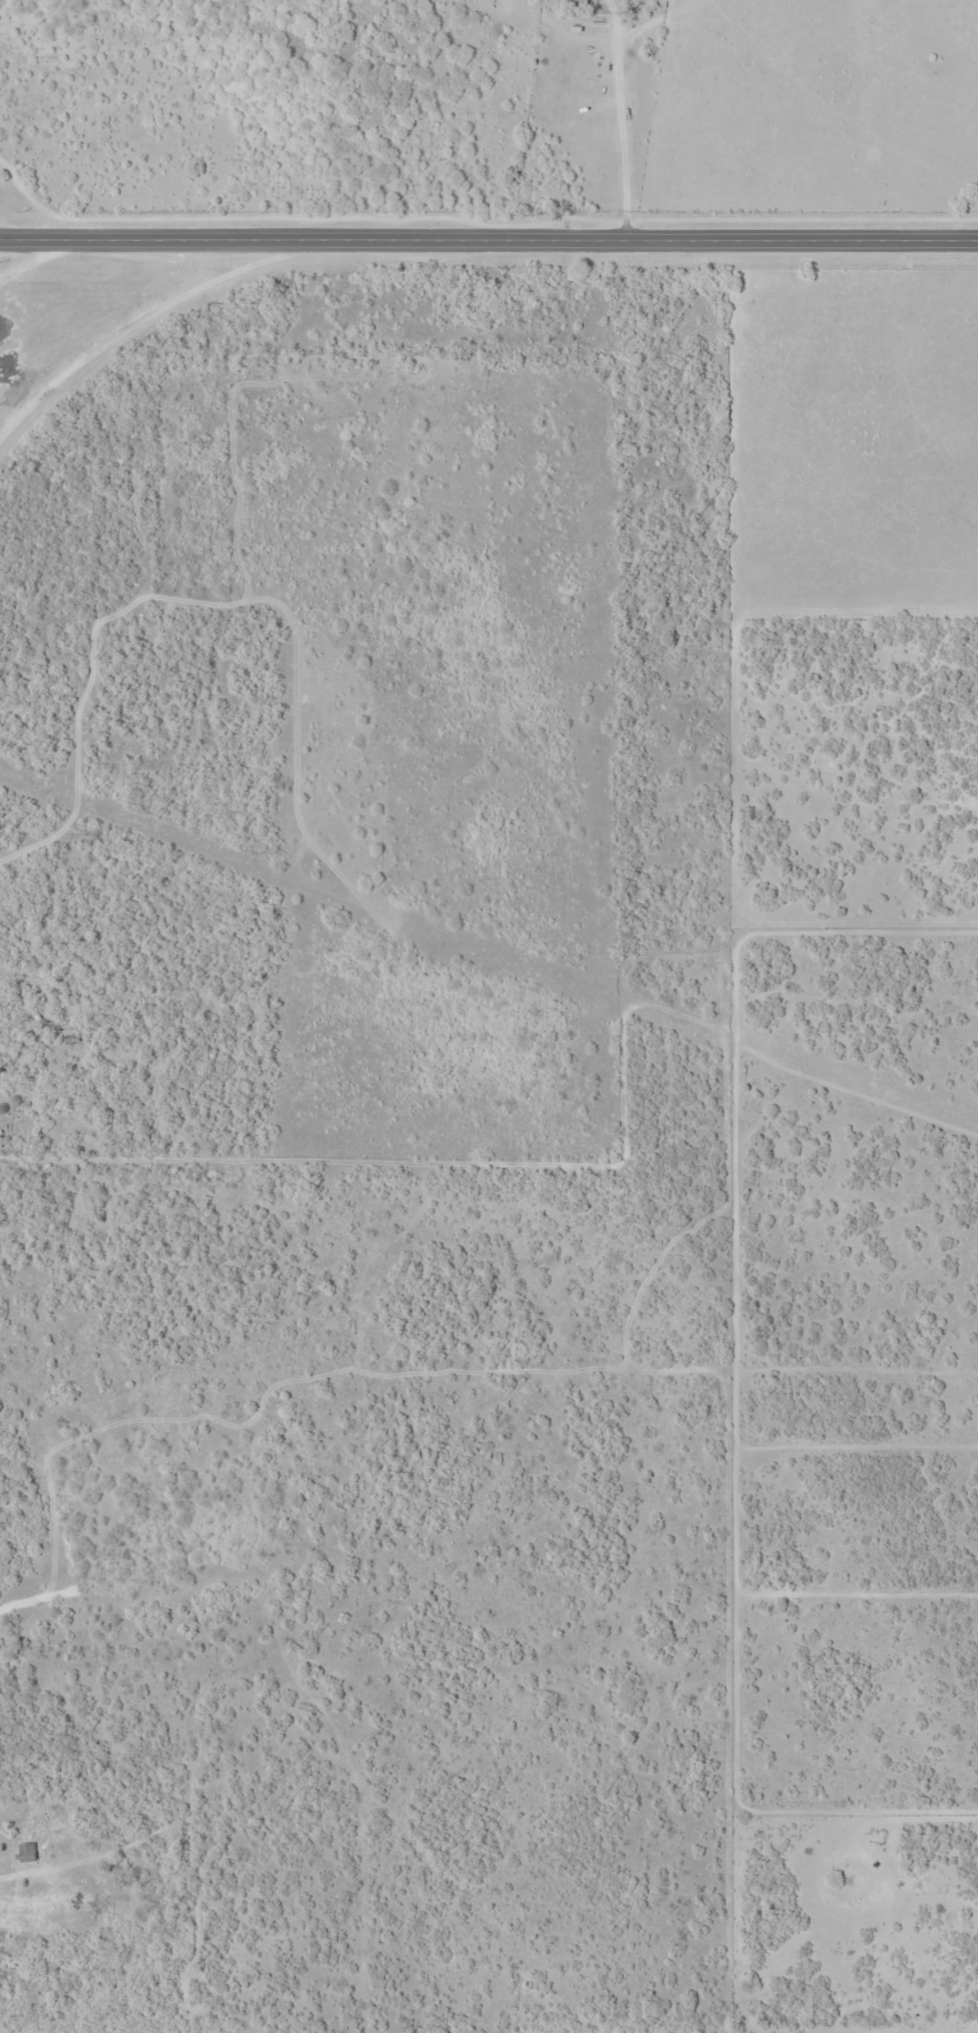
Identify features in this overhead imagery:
road: (687, 232)
road: (198, 235)
road: (178, 297)
building: (70, 1038)
building: (27, 1851)

